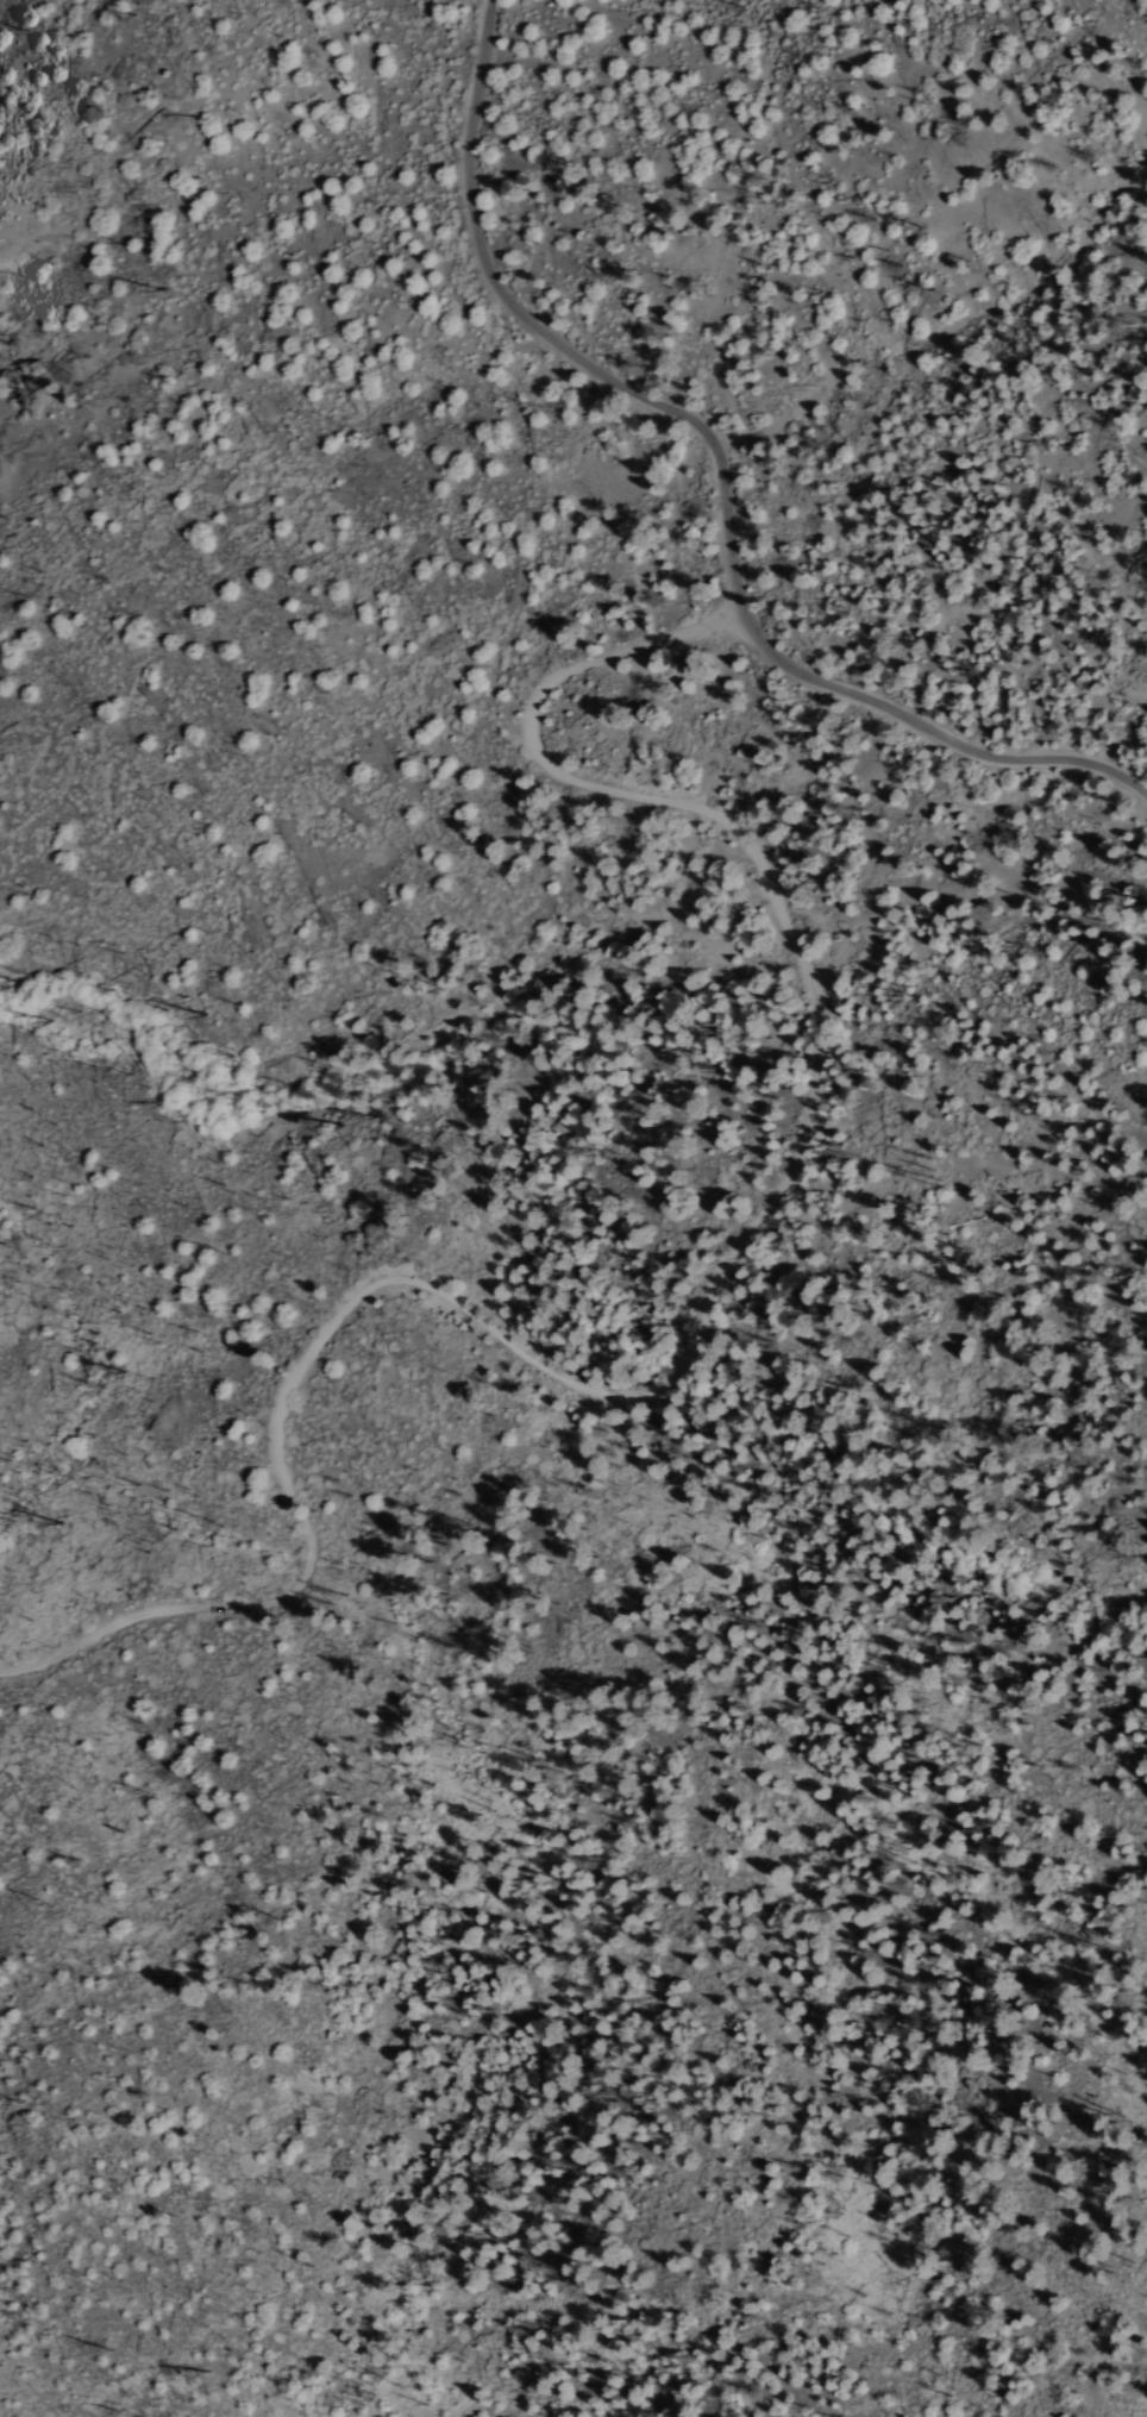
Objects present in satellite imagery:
road: (722, 476)
road: (697, 1323)

